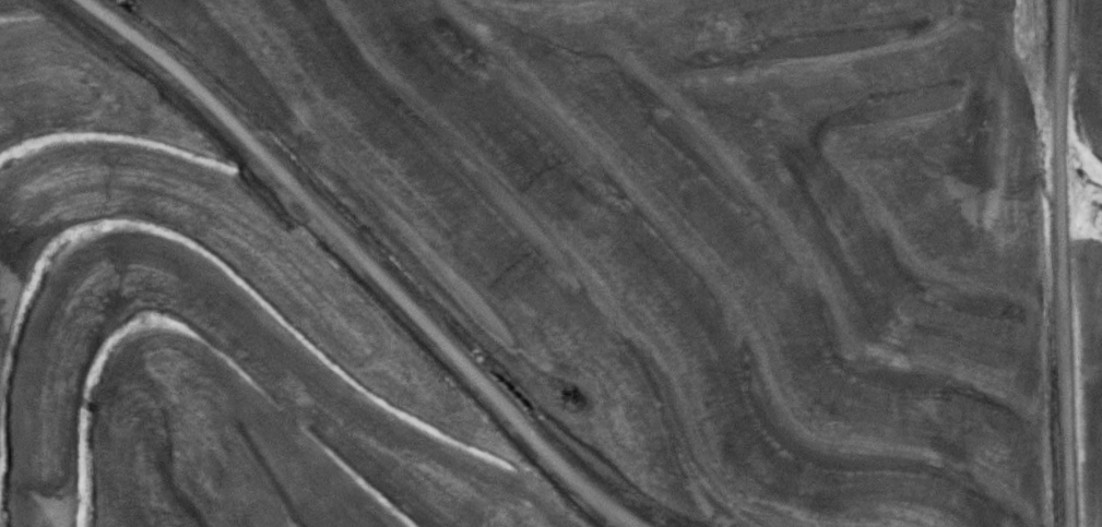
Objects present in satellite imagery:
road: (1067, 263)

